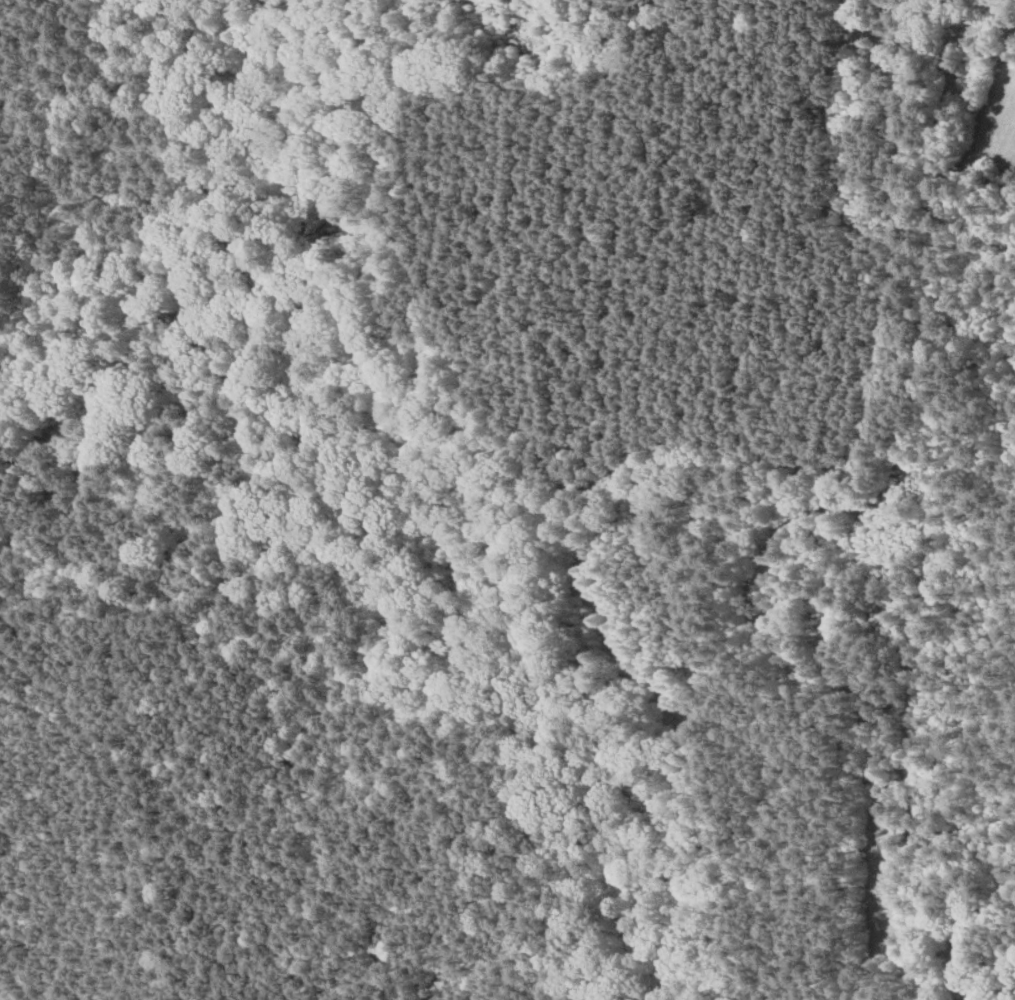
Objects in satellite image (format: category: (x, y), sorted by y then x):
road: (932, 502)

